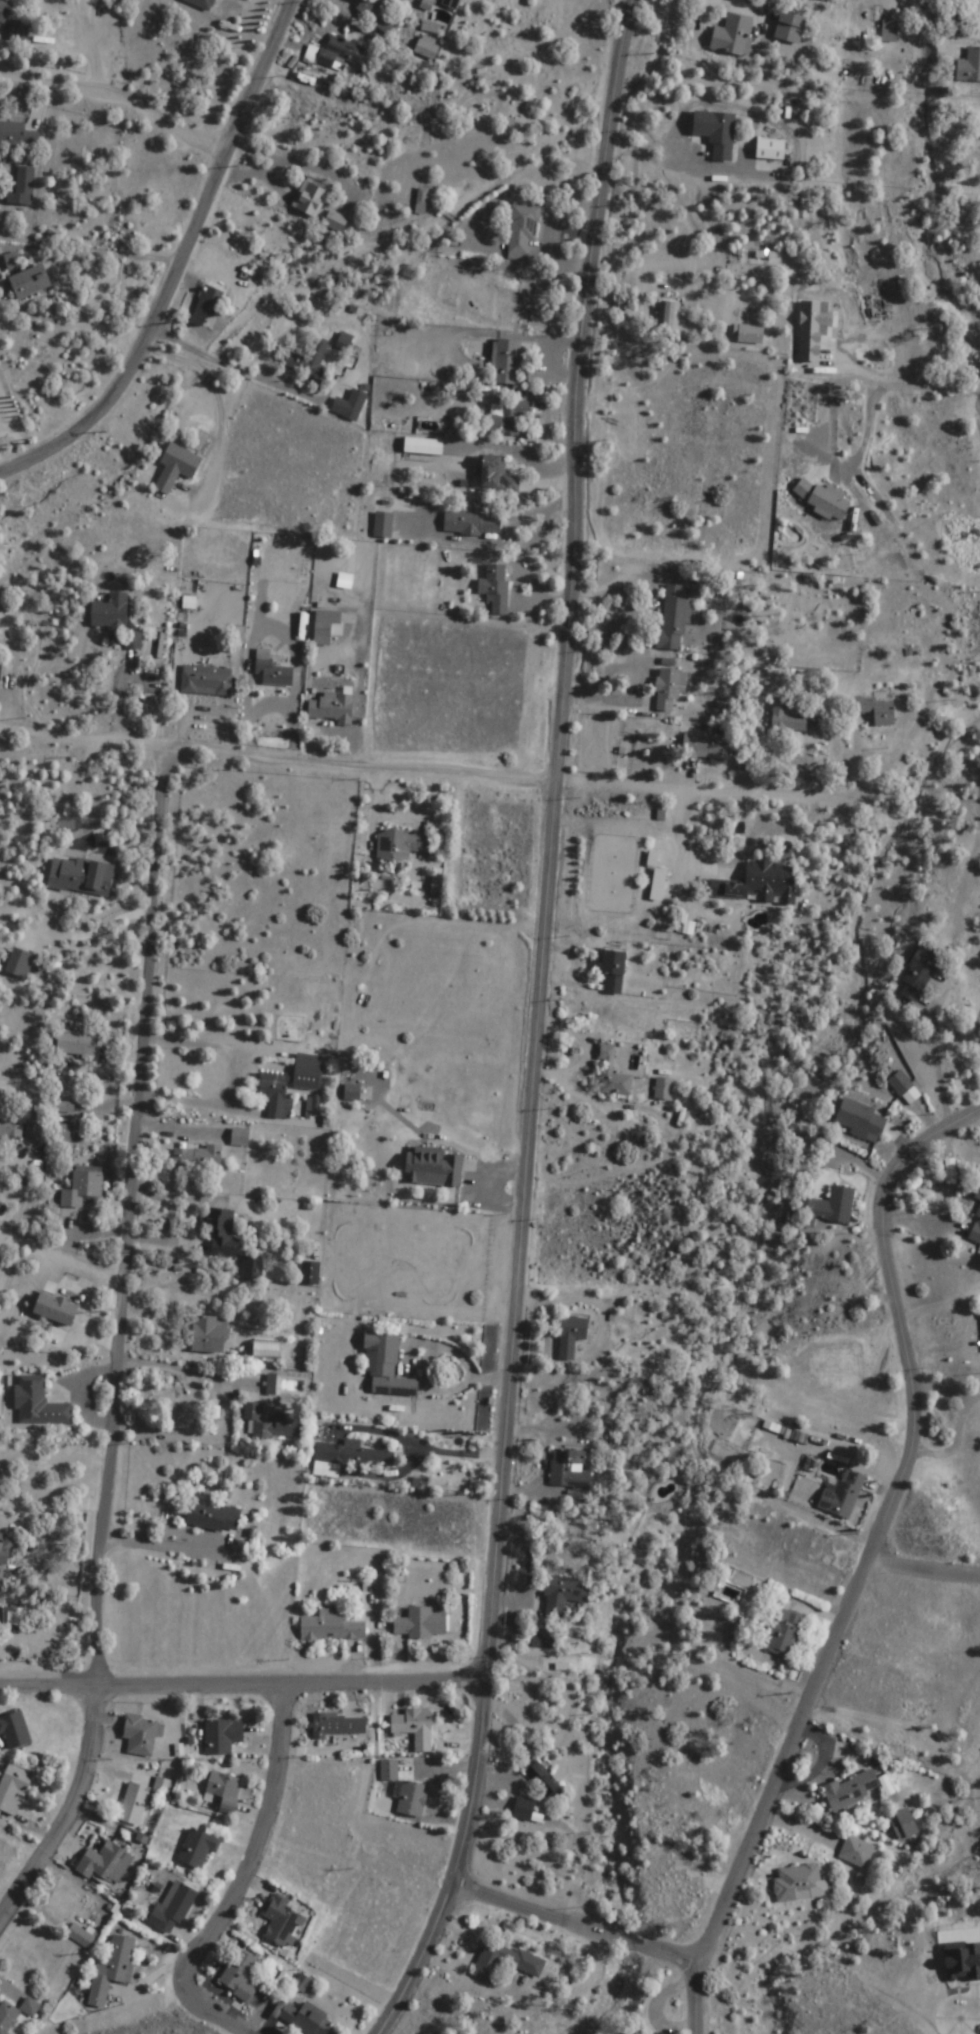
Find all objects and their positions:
building: (204, 3)
building: (4, 11)
building: (790, 27)
building: (890, 30)
building: (18, 31)
building: (733, 35)
building: (339, 52)
building: (969, 66)
road: (121, 97)
building: (716, 132)
building: (17, 136)
building: (771, 149)
building: (22, 187)
building: (309, 199)
building: (335, 221)
building: (522, 231)
building: (12, 262)
road: (182, 267)
building: (28, 283)
building: (505, 299)
building: (206, 306)
building: (668, 316)
building: (750, 334)
building: (811, 334)
building: (308, 362)
building: (506, 362)
building: (354, 408)
building: (507, 418)
road: (965, 453)
building: (176, 467)
building: (496, 476)
building: (812, 501)
building: (385, 523)
building: (471, 524)
building: (495, 589)
building: (109, 613)
building: (673, 617)
building: (325, 627)
building: (0, 663)
building: (271, 670)
building: (206, 681)
building: (669, 688)
building: (331, 708)
building: (872, 710)
building: (795, 716)
building: (709, 748)
road: (421, 776)
building: (400, 846)
building: (80, 877)
building: (760, 885)
building: (19, 964)
building: (613, 971)
building: (917, 978)
road: (540, 1025)
building: (307, 1072)
building: (610, 1075)
building: (901, 1084)
building: (663, 1090)
building: (352, 1093)
building: (276, 1098)
building: (862, 1120)
building: (11, 1130)
building: (64, 1133)
building: (241, 1137)
building: (198, 1157)
building: (434, 1168)
building: (82, 1186)
building: (978, 1196)
building: (826, 1210)
road: (126, 1219)
building: (220, 1231)
building: (976, 1231)
road: (57, 1257)
building: (252, 1266)
building: (55, 1308)
building: (207, 1334)
building: (571, 1335)
building: (266, 1349)
building: (386, 1365)
building: (38, 1402)
building: (273, 1424)
building: (355, 1453)
building: (569, 1469)
building: (771, 1469)
building: (842, 1494)
building: (212, 1516)
building: (2, 1563)
road: (874, 1564)
road: (926, 1574)
building: (563, 1594)
building: (420, 1622)
building: (330, 1626)
building: (783, 1630)
building: (542, 1639)
road: (246, 1687)
building: (339, 1725)
building: (414, 1727)
building: (14, 1730)
building: (139, 1735)
building: (222, 1735)
building: (389, 1770)
building: (543, 1781)
building: (162, 1784)
building: (13, 1789)
building: (851, 1789)
building: (222, 1791)
building: (412, 1799)
building: (134, 1804)
building: (524, 1809)
road: (69, 1816)
building: (904, 1824)
road: (261, 1845)
building: (198, 1848)
building: (856, 1851)
building: (105, 1863)
building: (800, 1884)
building: (669, 1889)
building: (64, 1902)
building: (173, 1905)
road: (580, 1918)
building: (281, 1920)
building: (81, 1932)
road: (974, 1941)
building: (505, 1961)
building: (962, 1961)
building: (112, 1968)
building: (239, 1976)
building: (303, 1984)
building: (29, 2006)
road: (218, 2012)
building: (8, 2017)
building: (303, 2018)

